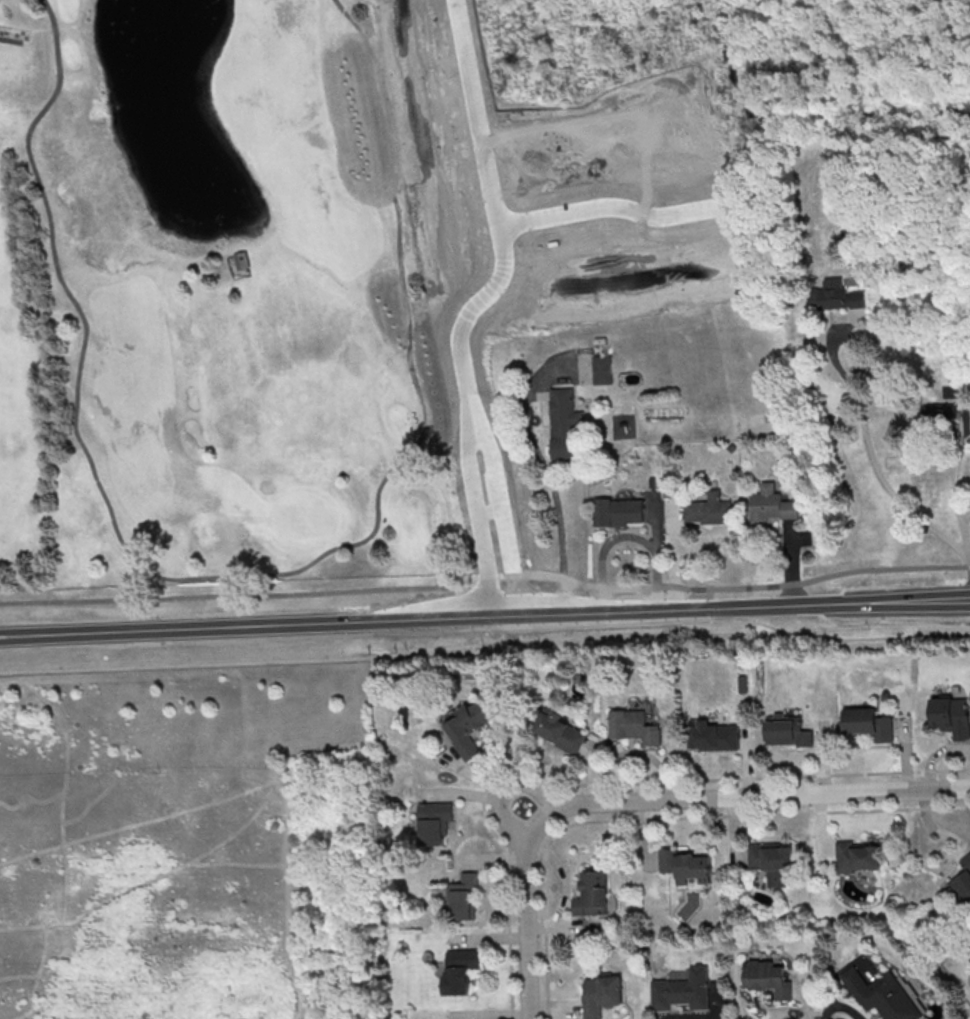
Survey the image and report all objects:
park: (852, 64)
road: (504, 207)
road: (611, 215)
building: (240, 262)
building: (839, 296)
park: (209, 321)
building: (603, 370)
road: (480, 404)
building: (947, 414)
building: (564, 423)
road: (877, 468)
road: (552, 489)
road: (955, 493)
building: (773, 506)
building: (709, 511)
building: (620, 514)
road: (500, 518)
road: (626, 536)
road: (238, 574)
road: (485, 587)
road: (485, 617)
road: (488, 654)
road: (185, 675)
building: (953, 717)
building: (870, 725)
building: (635, 728)
building: (470, 730)
building: (562, 733)
building: (789, 734)
building: (714, 737)
road: (602, 783)
road: (533, 786)
road: (256, 791)
road: (751, 795)
road: (61, 796)
road: (43, 803)
road: (89, 806)
road: (504, 817)
road: (666, 817)
building: (434, 824)
park: (188, 856)
building: (860, 856)
building: (775, 862)
road: (237, 865)
building: (689, 865)
road: (152, 879)
building: (965, 879)
building: (594, 894)
building: (463, 898)
road: (525, 918)
building: (461, 970)
road: (38, 976)
road: (18, 977)
building: (771, 977)
building: (683, 991)
building: (883, 992)
building: (603, 994)

